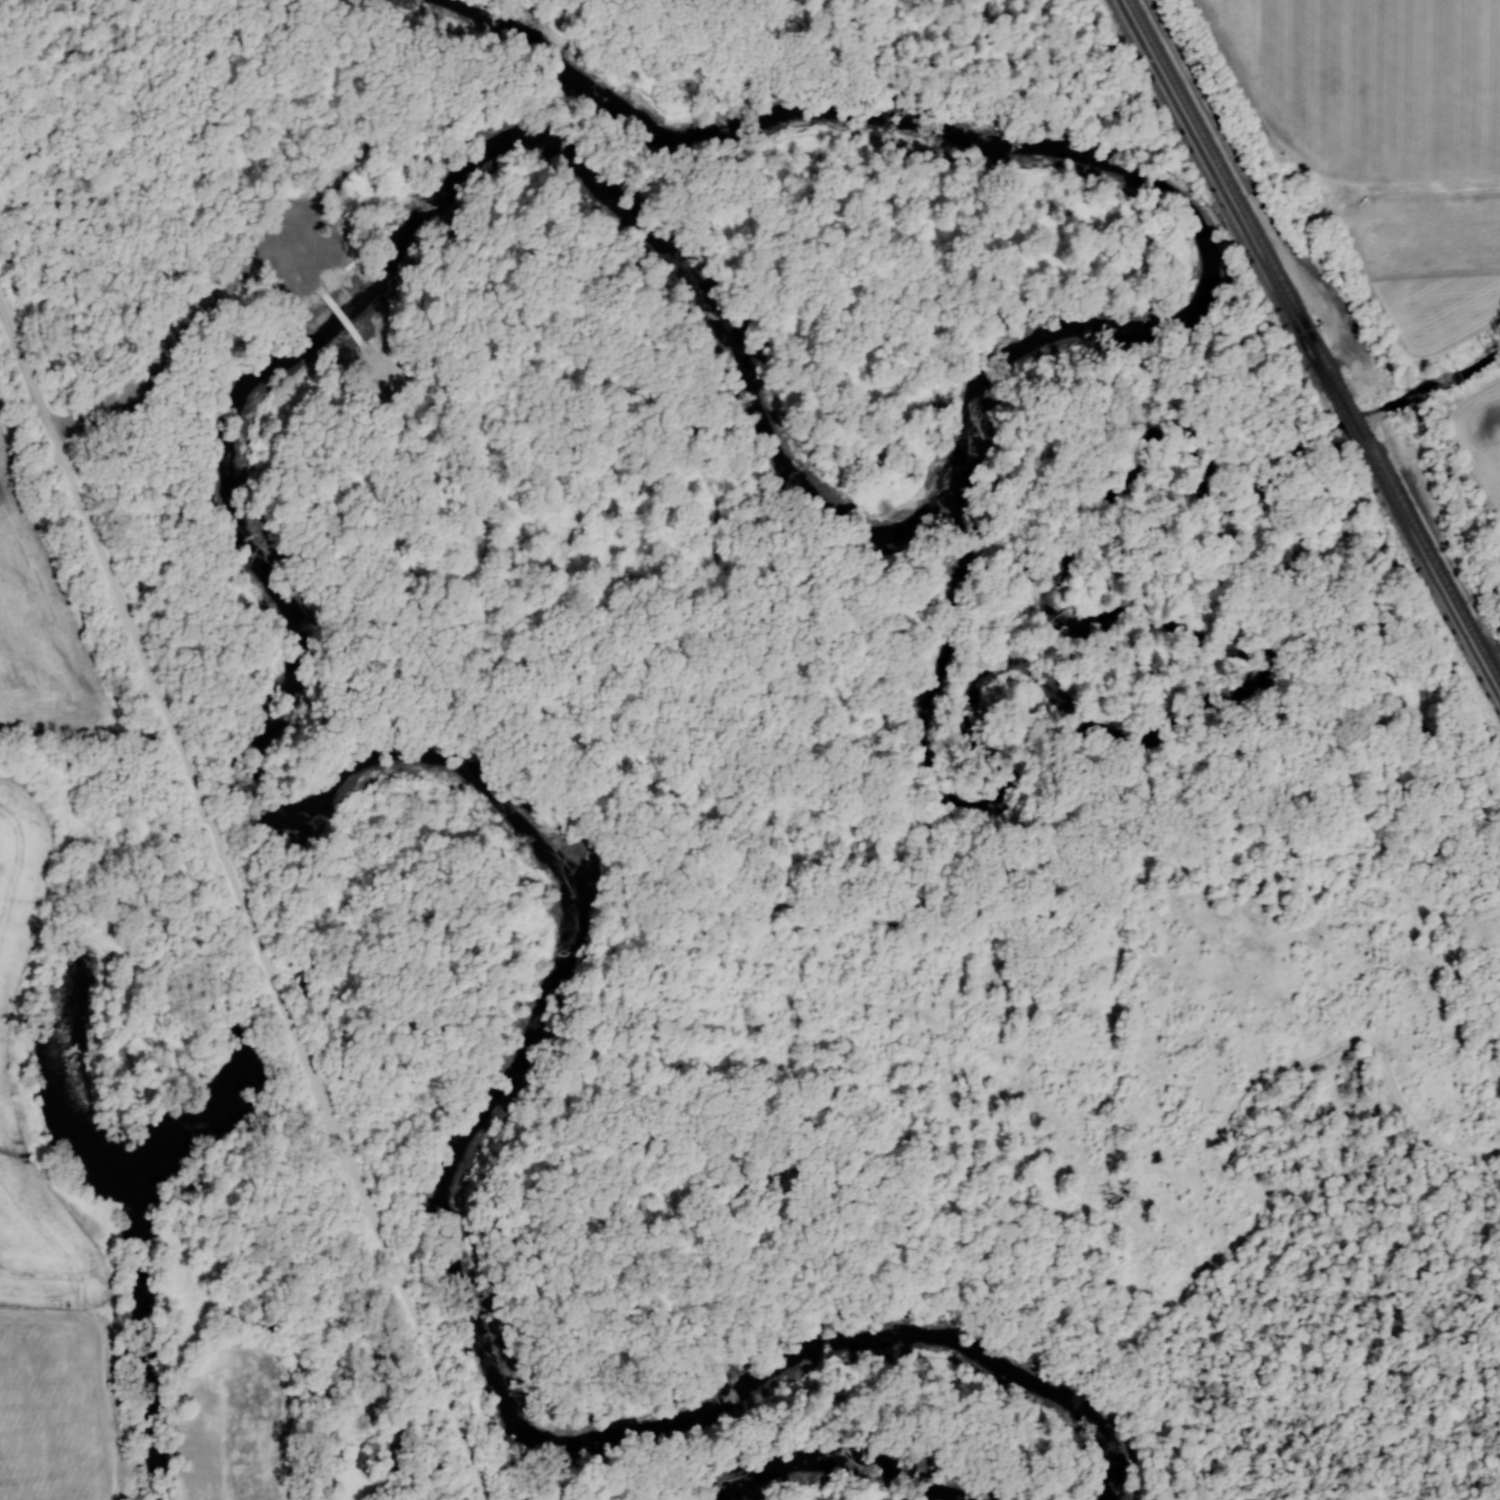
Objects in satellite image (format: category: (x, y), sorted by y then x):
railway: (1233, 185)
railway: (1219, 187)
road: (294, 246)
park: (1347, 260)
road: (310, 264)
road: (340, 310)
river: (304, 348)
road: (380, 360)
railway: (1351, 406)
railway: (1340, 407)
railway: (1435, 558)
railway: (1429, 570)
park: (83, 651)
road: (244, 899)
road: (686, 1002)
road: (612, 1063)
road: (1496, 1145)
park: (547, 1308)
river: (844, 1457)

